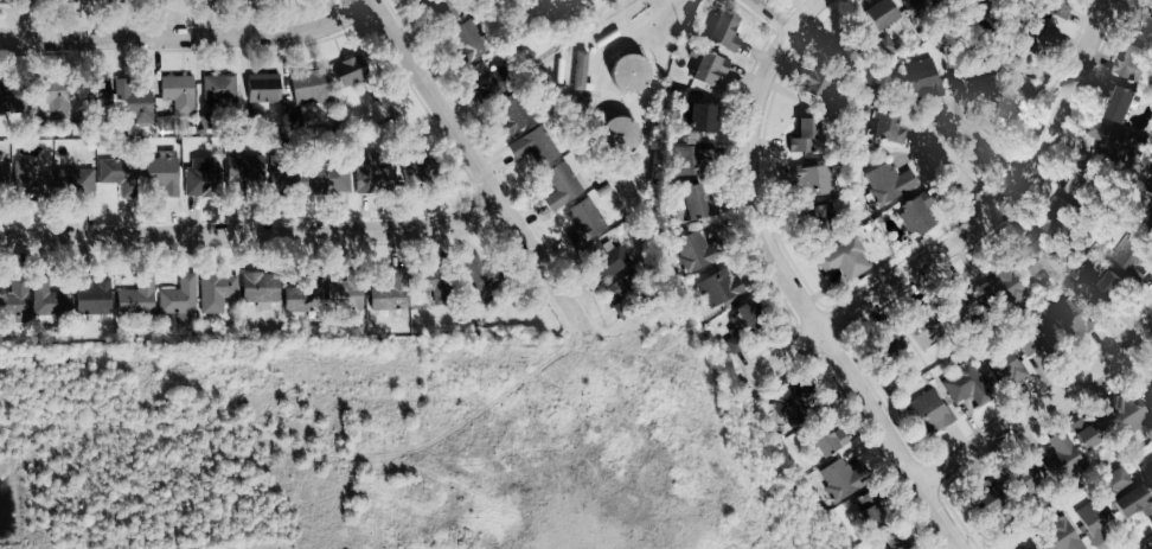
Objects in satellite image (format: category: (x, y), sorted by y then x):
building: (96, 0)
building: (204, 0)
building: (14, 1)
building: (68, 1)
building: (916, 6)
building: (1056, 7)
road: (788, 9)
building: (881, 13)
road: (772, 14)
road: (805, 14)
building: (1147, 27)
building: (723, 31)
road: (188, 36)
building: (1035, 36)
building: (469, 38)
building: (1133, 64)
building: (709, 68)
building: (348, 70)
building: (581, 70)
building: (627, 74)
building: (484, 81)
building: (922, 81)
building: (815, 85)
building: (311, 87)
building: (263, 88)
building: (1017, 90)
building: (219, 91)
building: (95, 92)
building: (178, 94)
building: (52, 95)
building: (8, 97)
building: (1119, 103)
building: (136, 106)
building: (702, 117)
building: (294, 120)
building: (166, 125)
building: (204, 125)
building: (888, 128)
building: (524, 130)
road: (934, 134)
building: (805, 135)
building: (1115, 140)
building: (692, 159)
road: (476, 164)
building: (117, 172)
building: (244, 172)
building: (414, 172)
building: (371, 174)
building: (161, 175)
building: (203, 178)
building: (0, 179)
building: (288, 179)
building: (331, 179)
building: (814, 180)
building: (1150, 181)
building: (52, 183)
building: (889, 183)
building: (1079, 184)
building: (563, 186)
road: (1001, 200)
building: (695, 203)
building: (915, 215)
building: (817, 216)
building: (1060, 218)
building: (585, 223)
building: (1150, 223)
road: (251, 231)
building: (693, 251)
building: (1133, 257)
building: (845, 258)
building: (1032, 258)
building: (607, 260)
building: (488, 276)
building: (434, 285)
building: (719, 287)
building: (260, 288)
building: (1109, 288)
building: (217, 292)
building: (621, 292)
building: (390, 293)
building: (94, 295)
building: (179, 296)
building: (303, 296)
building: (344, 296)
building: (961, 296)
building: (137, 298)
building: (49, 300)
road: (795, 300)
building: (14, 306)
building: (747, 315)
building: (1067, 317)
building: (923, 327)
building: (1033, 337)
building: (732, 345)
building: (891, 346)
road: (782, 355)
building: (1005, 369)
building: (1151, 371)
building: (966, 385)
building: (1150, 397)
road: (1037, 406)
building: (930, 413)
building: (1129, 413)
building: (1089, 432)
building: (826, 439)
building: (1062, 458)
building: (1147, 471)
building: (1030, 474)
building: (843, 479)
building: (1115, 481)
building: (987, 499)
building: (1131, 502)
building: (872, 515)
building: (1096, 522)
building: (1060, 537)
building: (896, 541)

